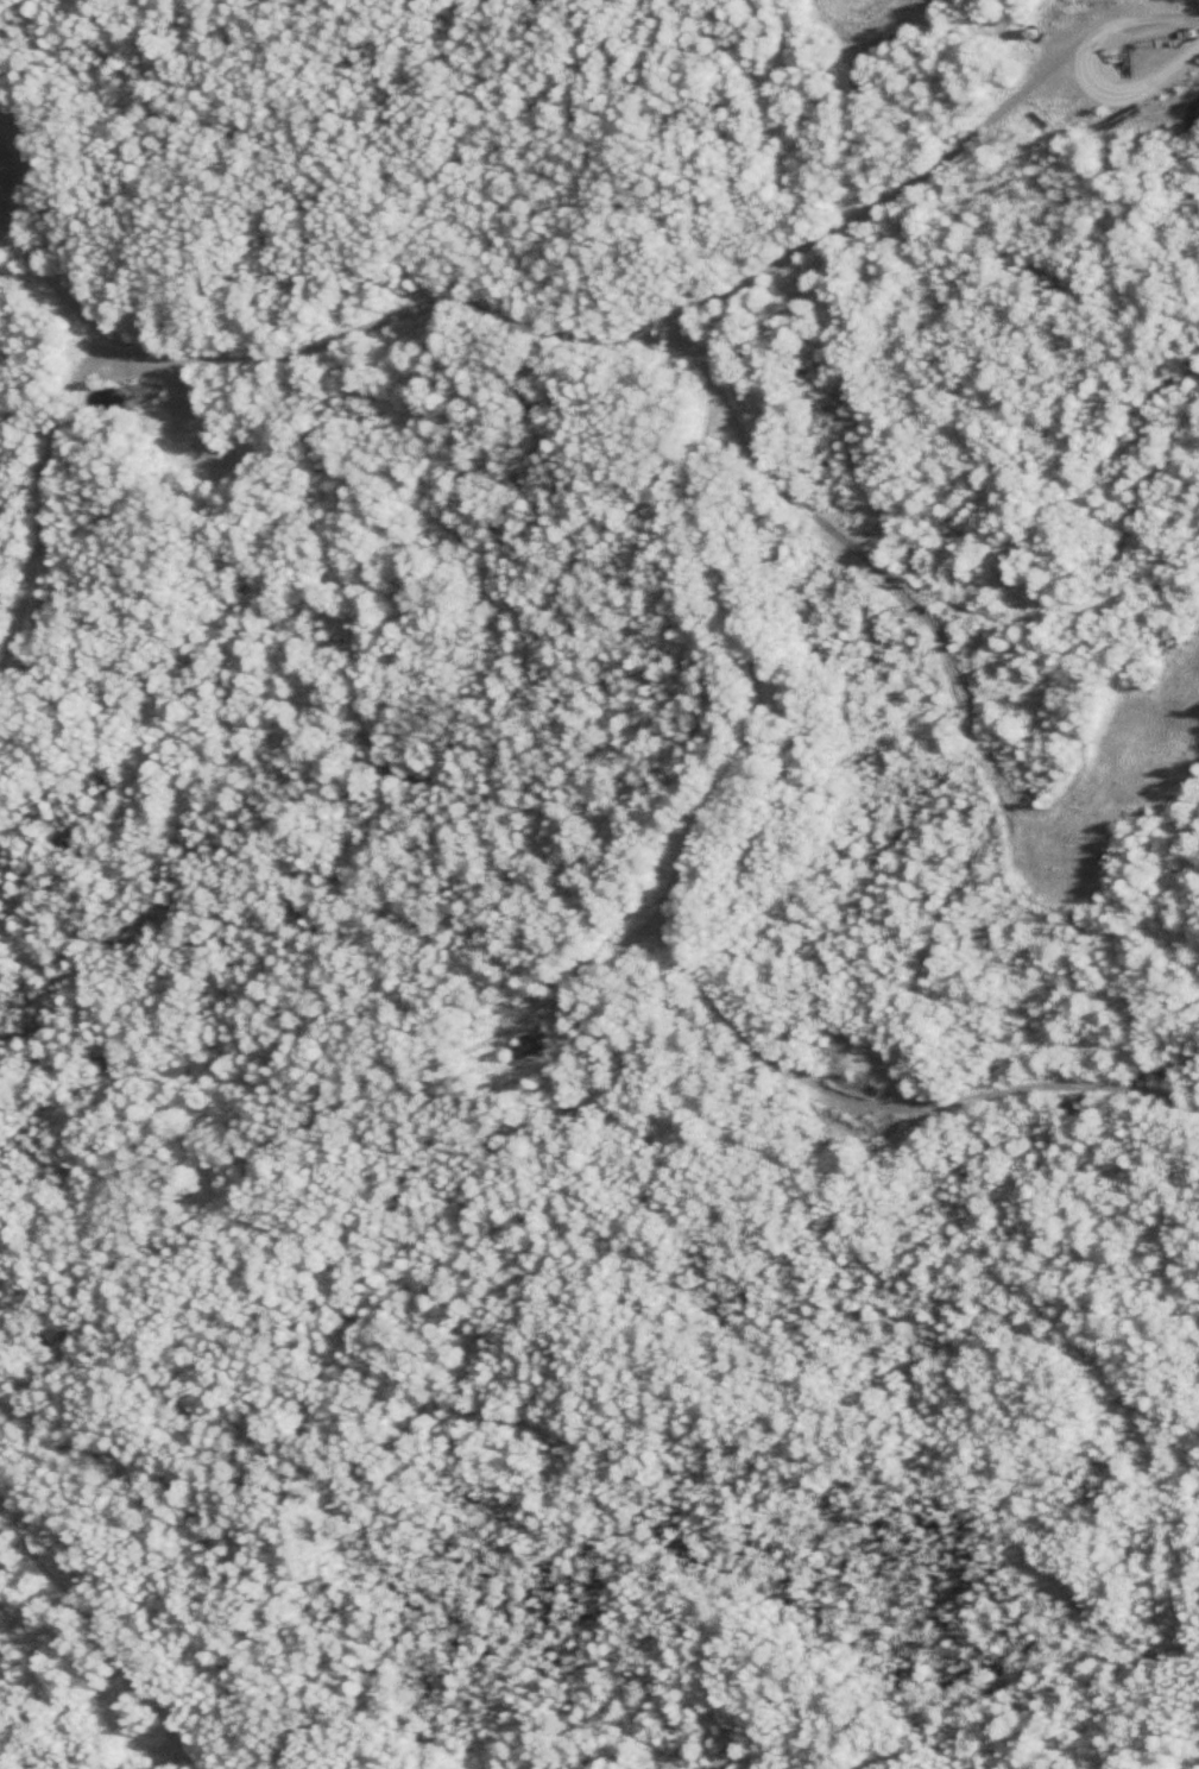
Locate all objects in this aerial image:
petroleum well: (1128, 56)
road: (618, 344)
road: (45, 489)
road: (676, 887)

